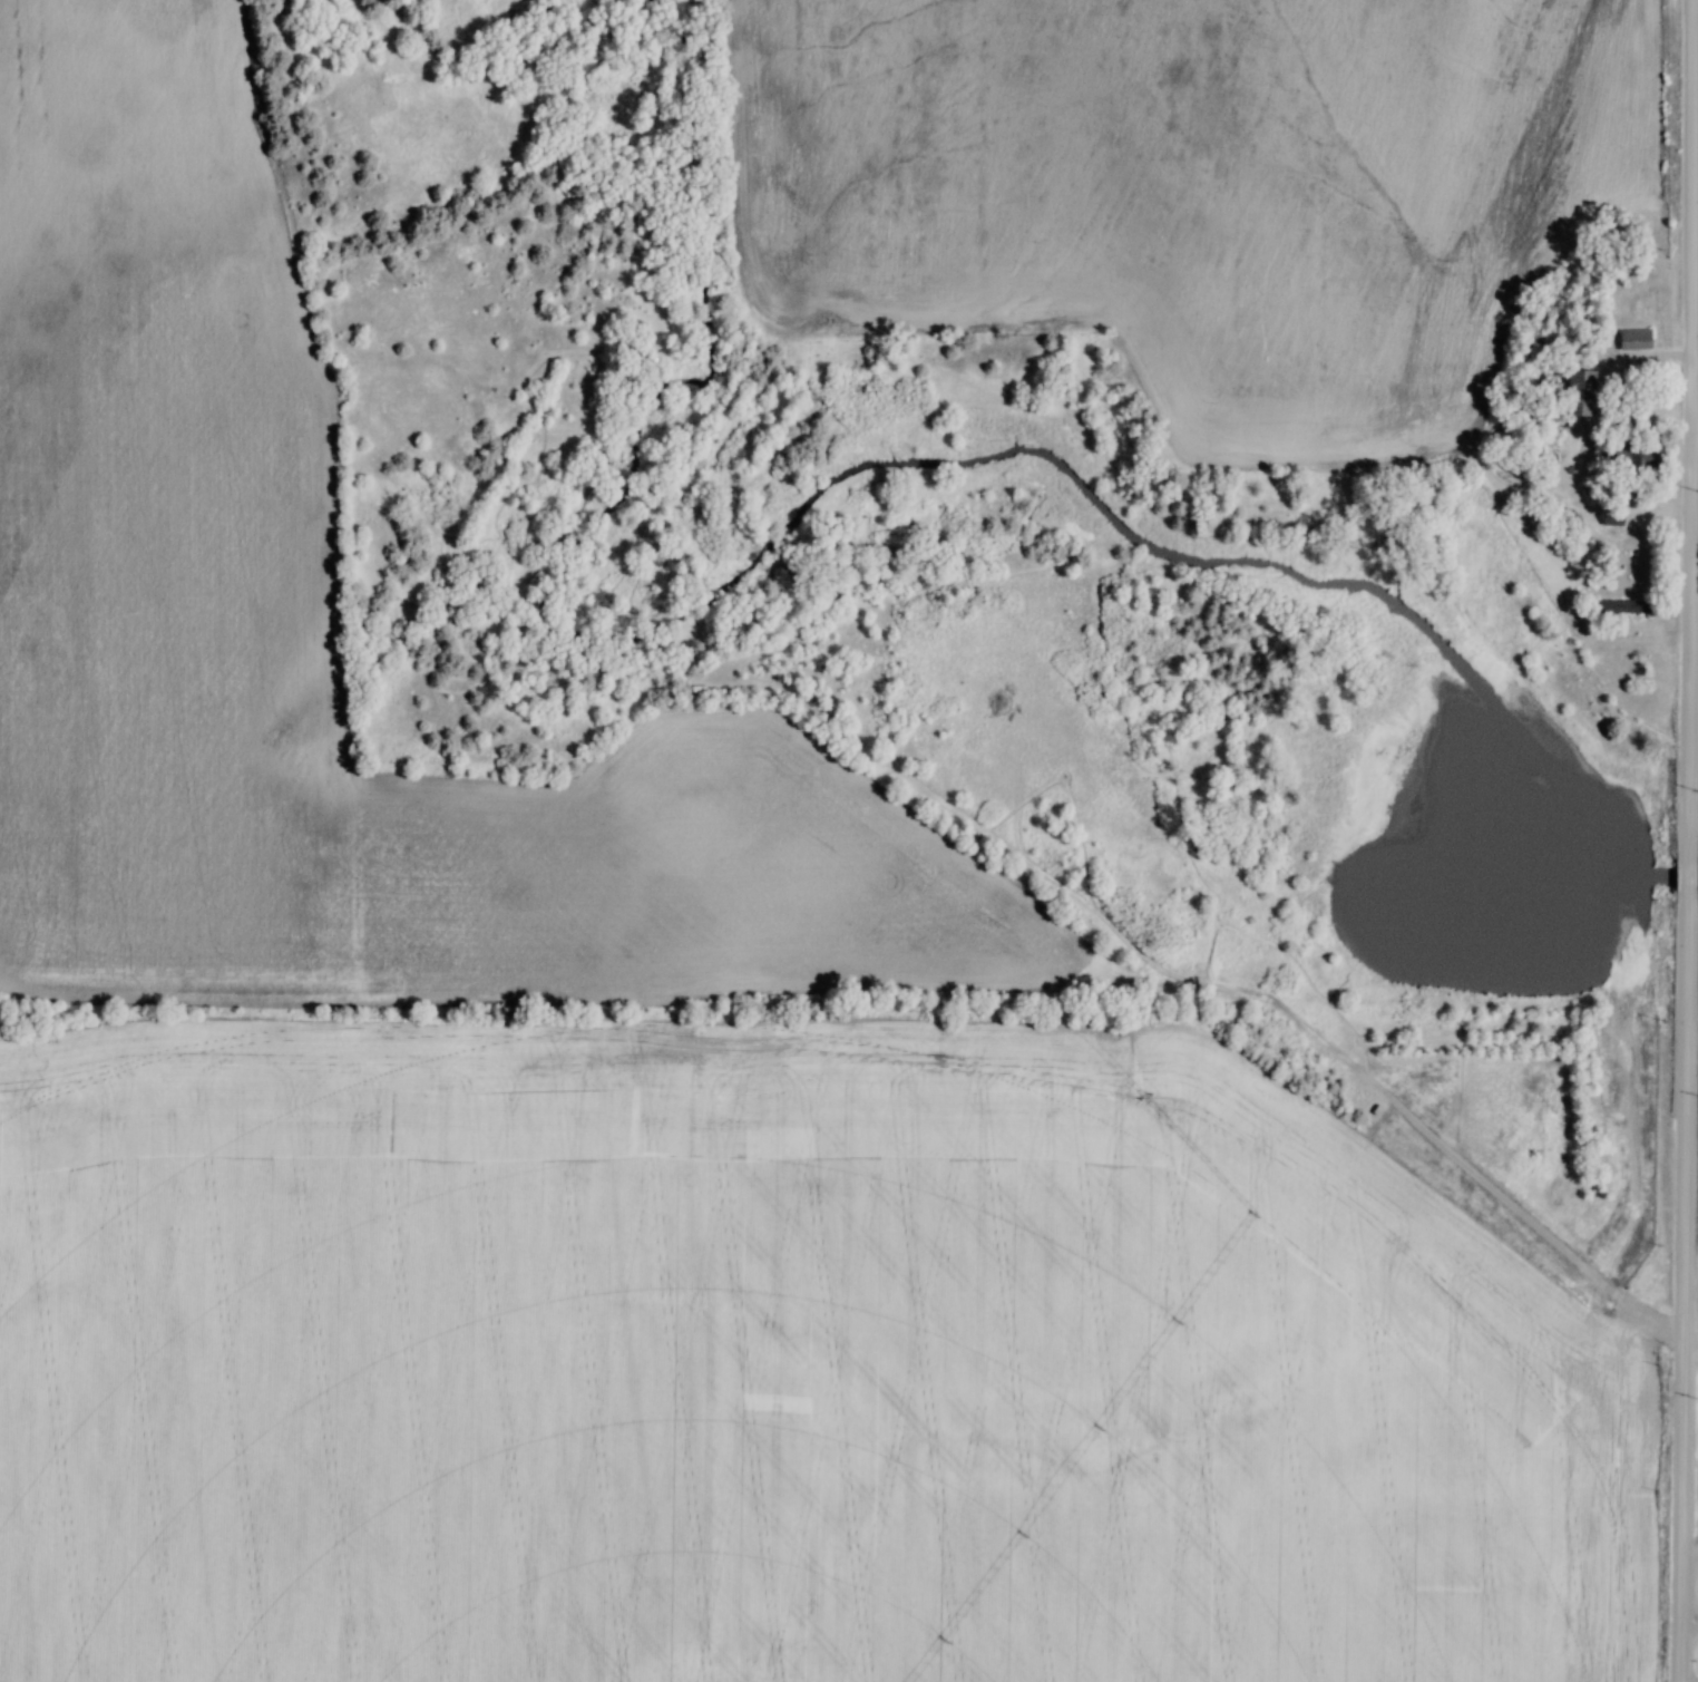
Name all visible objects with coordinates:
building: (1643, 330)
building: (1631, 340)
building: (1588, 379)
building: (1575, 393)
road: (1696, 425)
road: (1697, 440)
building: (1631, 458)
building: (1608, 517)
building: (1620, 610)
road: (1692, 863)
road: (1688, 1278)
road: (1691, 1633)
road: (1691, 1678)

